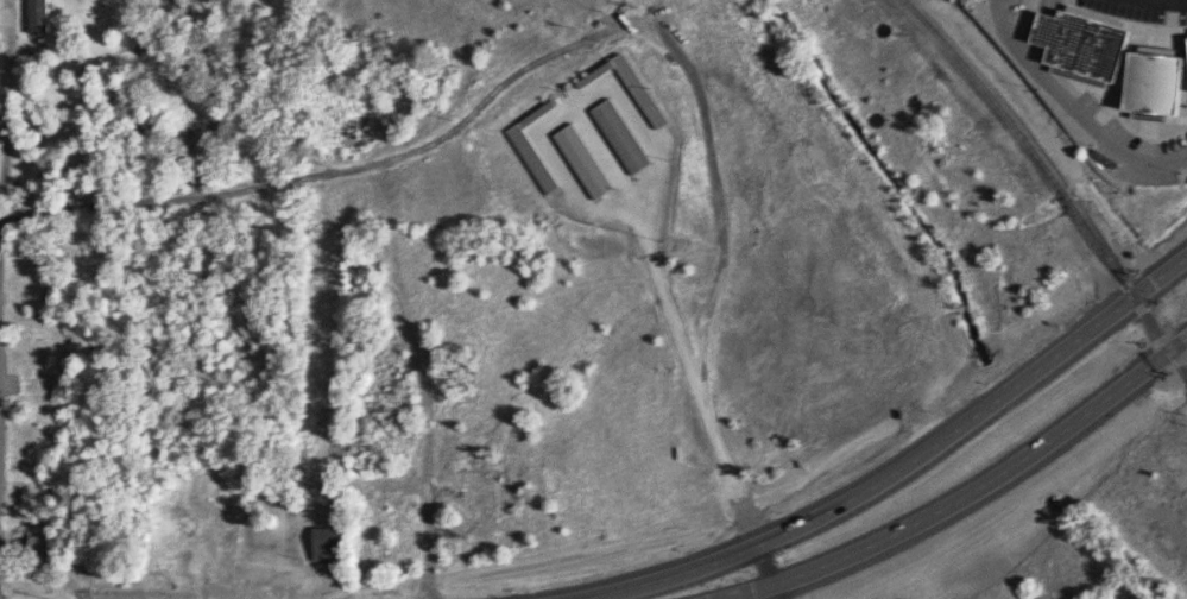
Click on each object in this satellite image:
road: (1150, 10)
building: (1086, 44)
building: (1158, 81)
railway: (1053, 182)
road: (1144, 370)
road: (904, 465)
road: (926, 517)
road: (763, 574)

